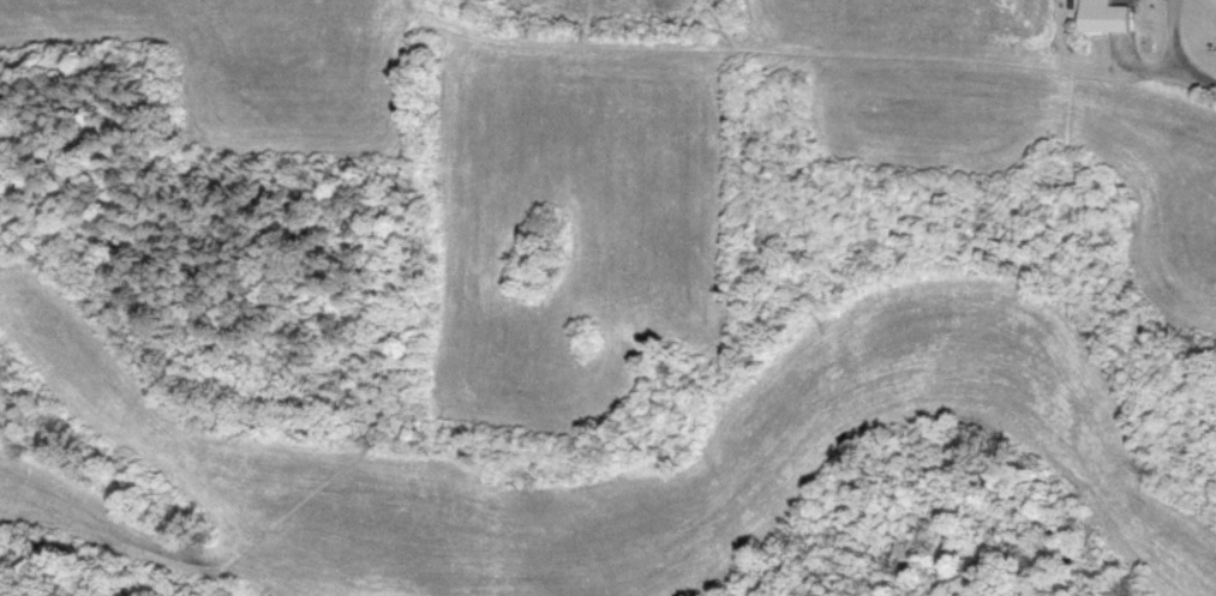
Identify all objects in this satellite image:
building: (1102, 16)
road: (1203, 76)

